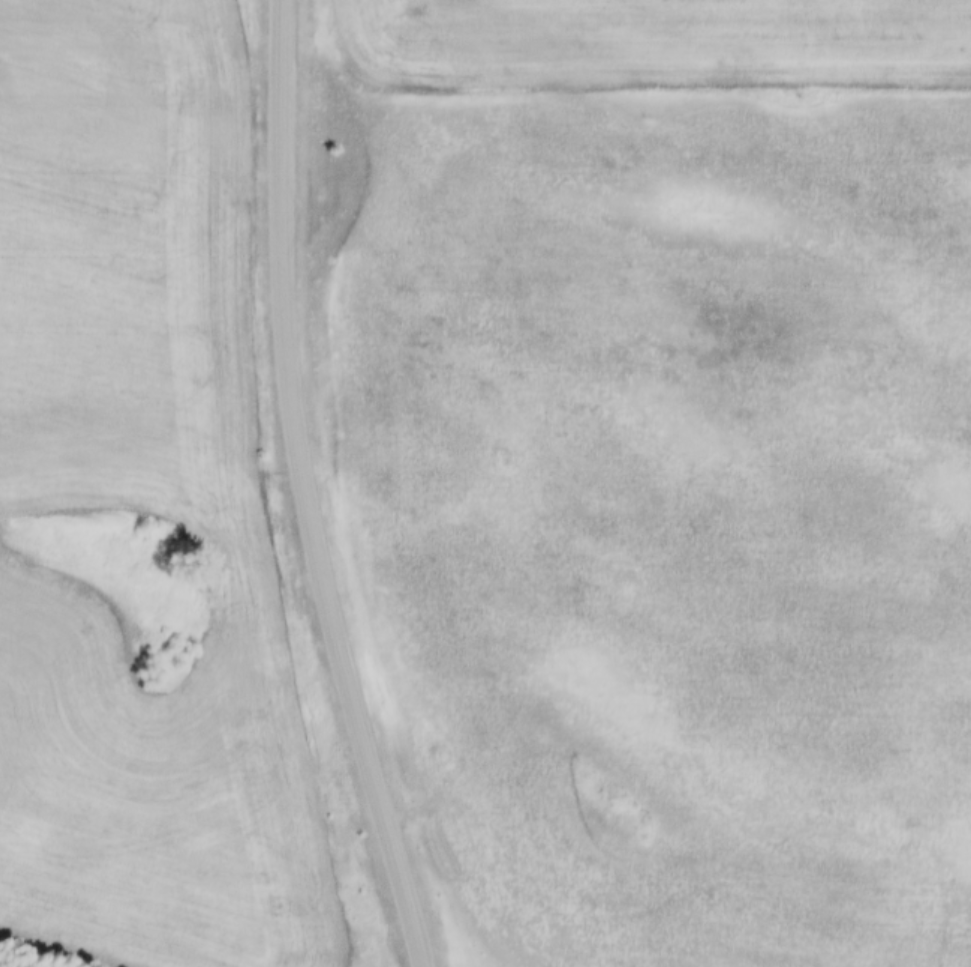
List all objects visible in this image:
road: (306, 489)

